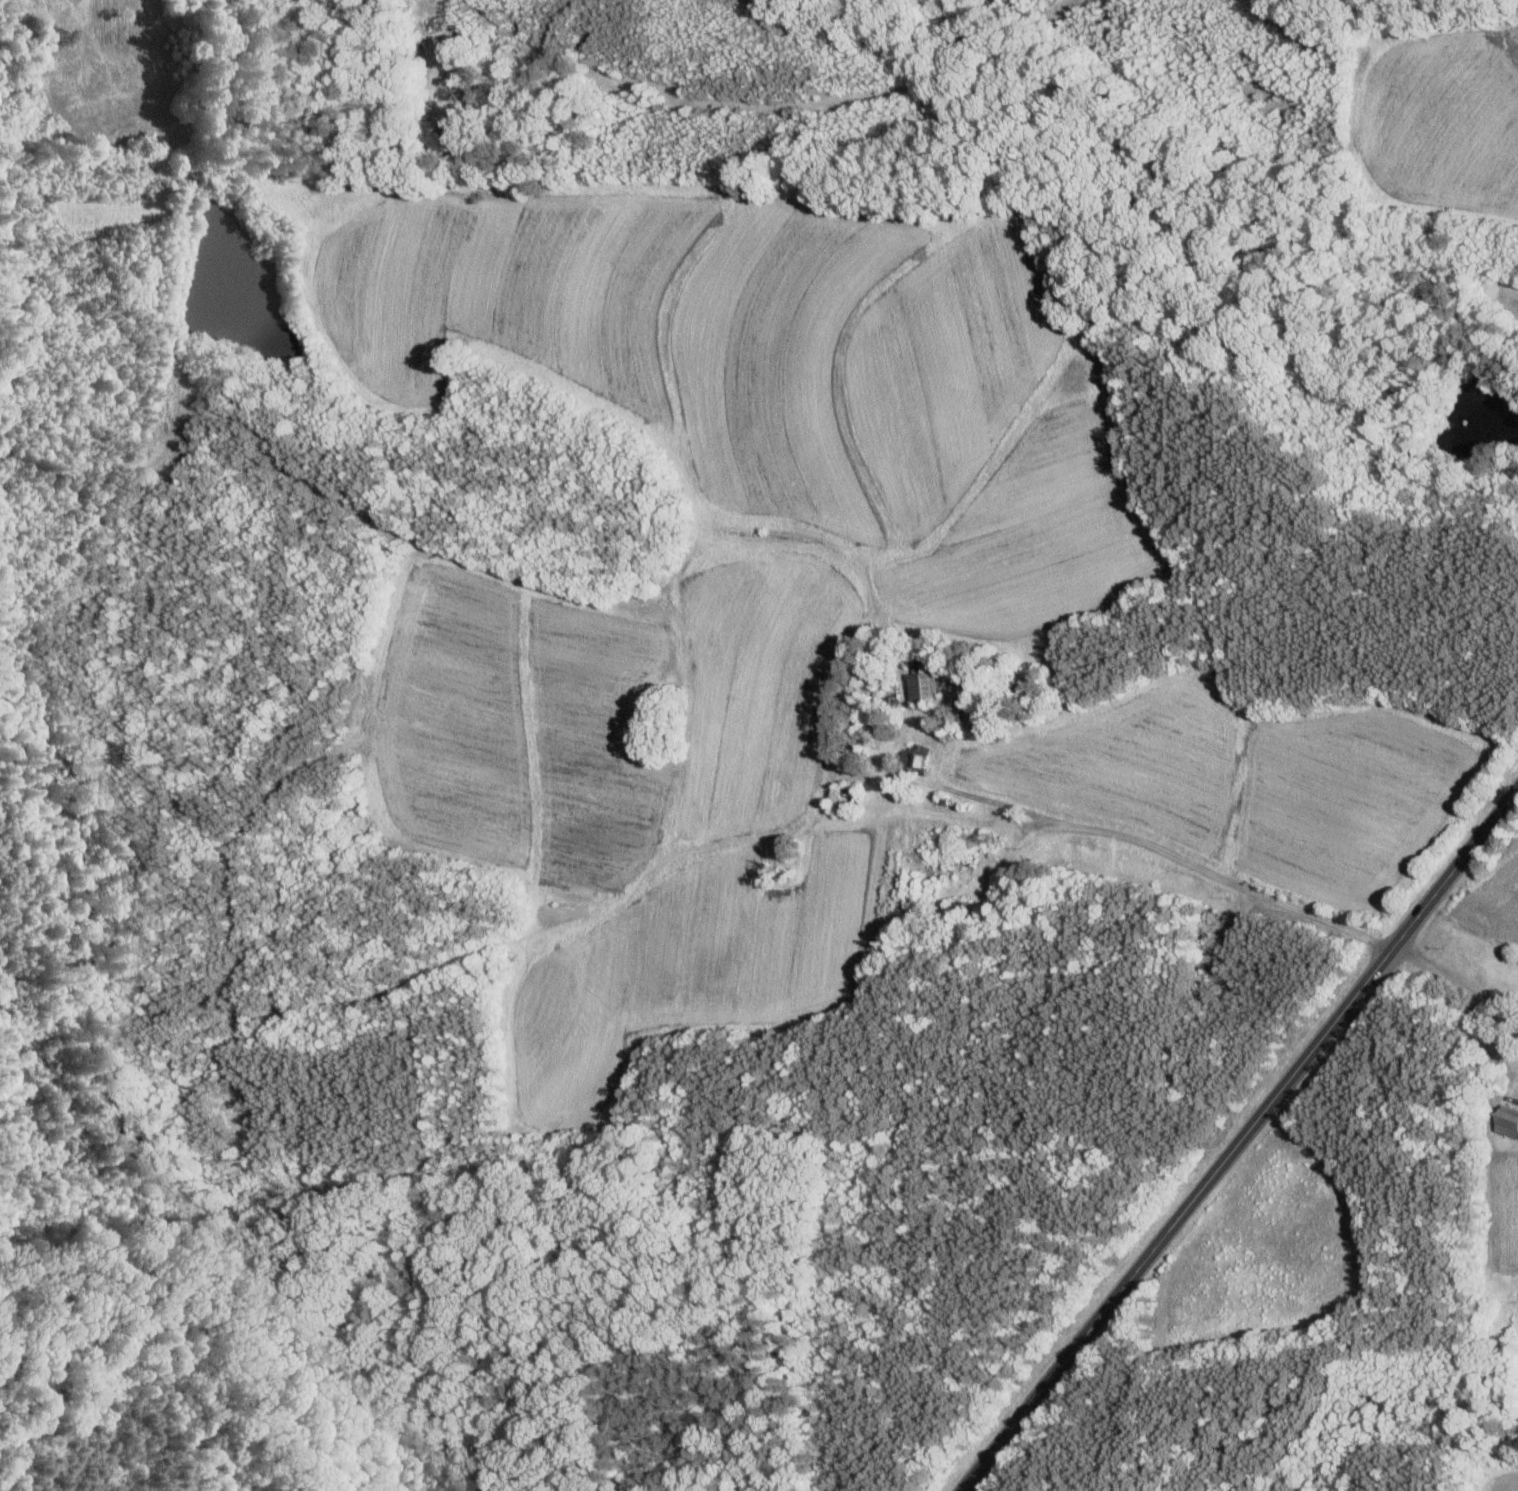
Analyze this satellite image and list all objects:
building: (927, 686)
road: (998, 803)
road: (1233, 884)
road: (1457, 986)
building: (1510, 1122)
road: (1239, 1139)

